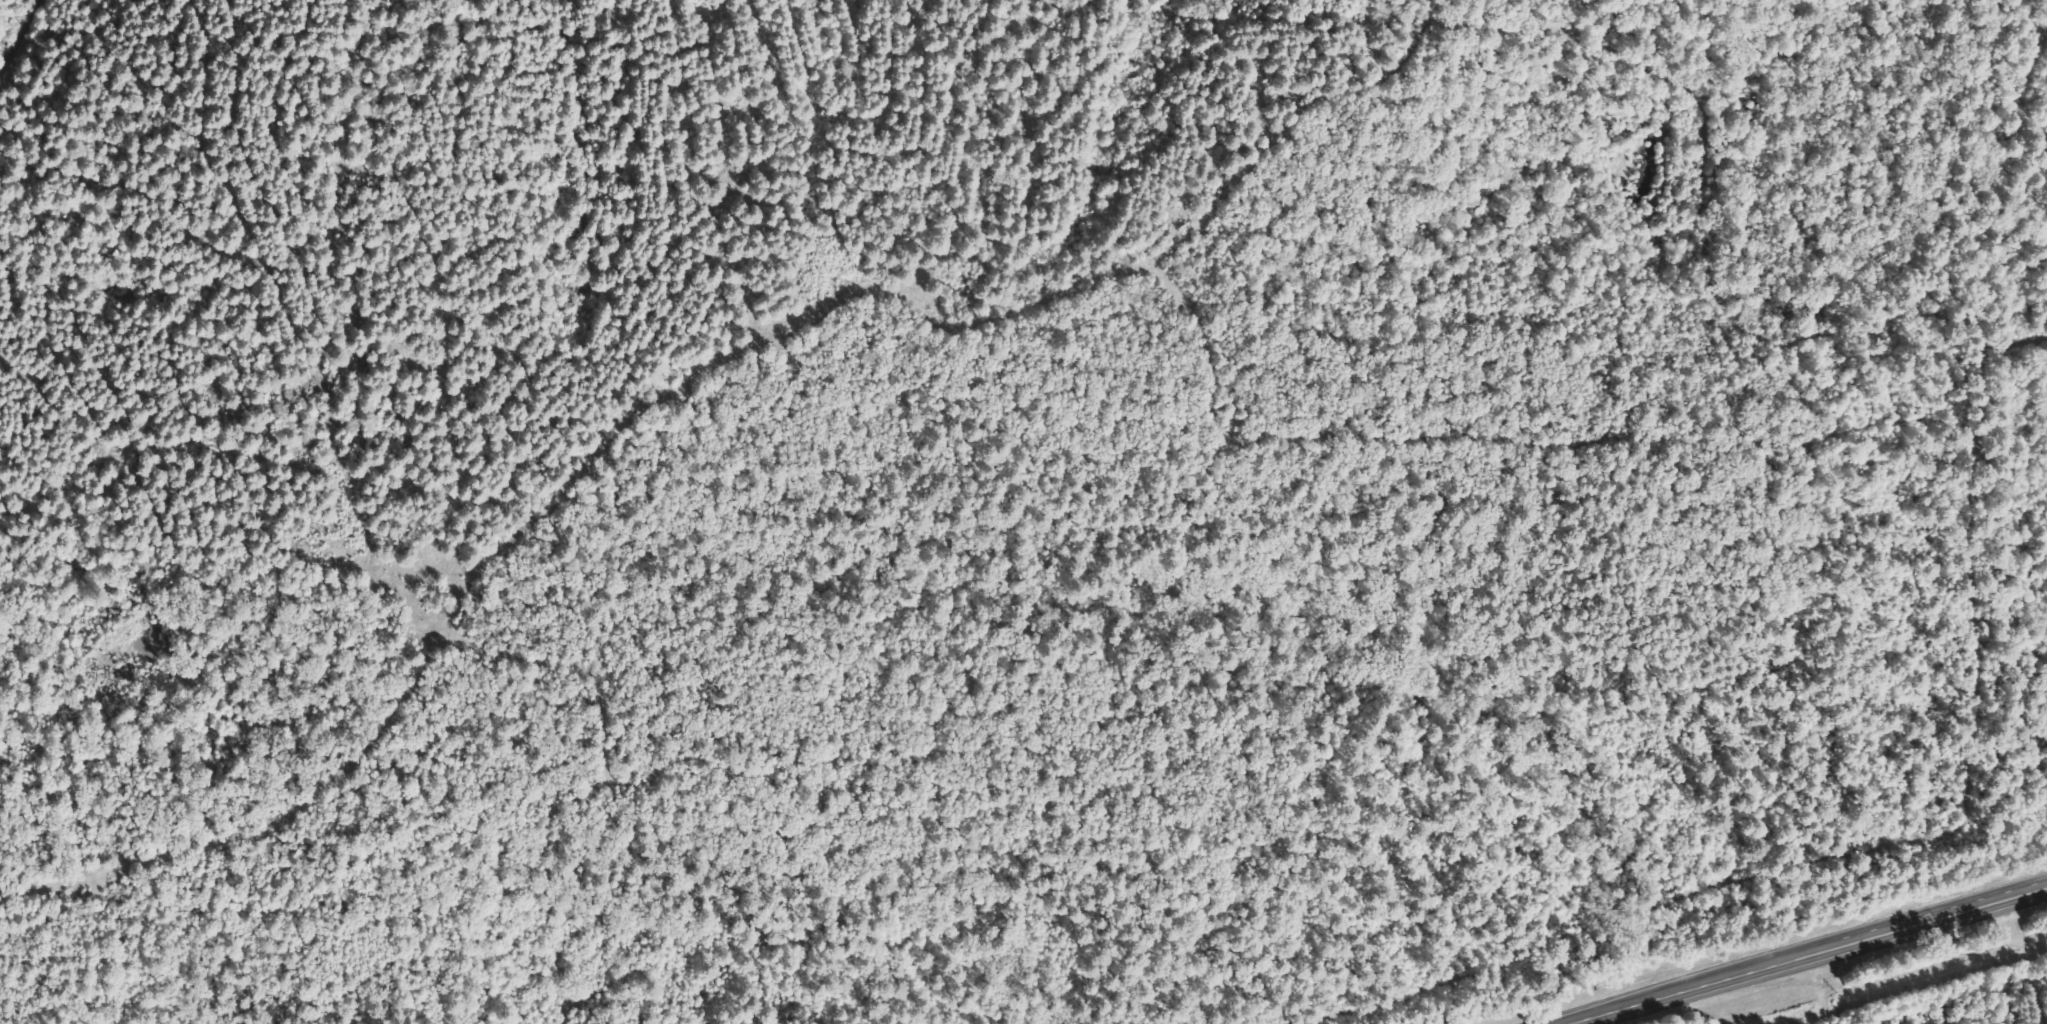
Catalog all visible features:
road: (1806, 959)
road: (1823, 989)

